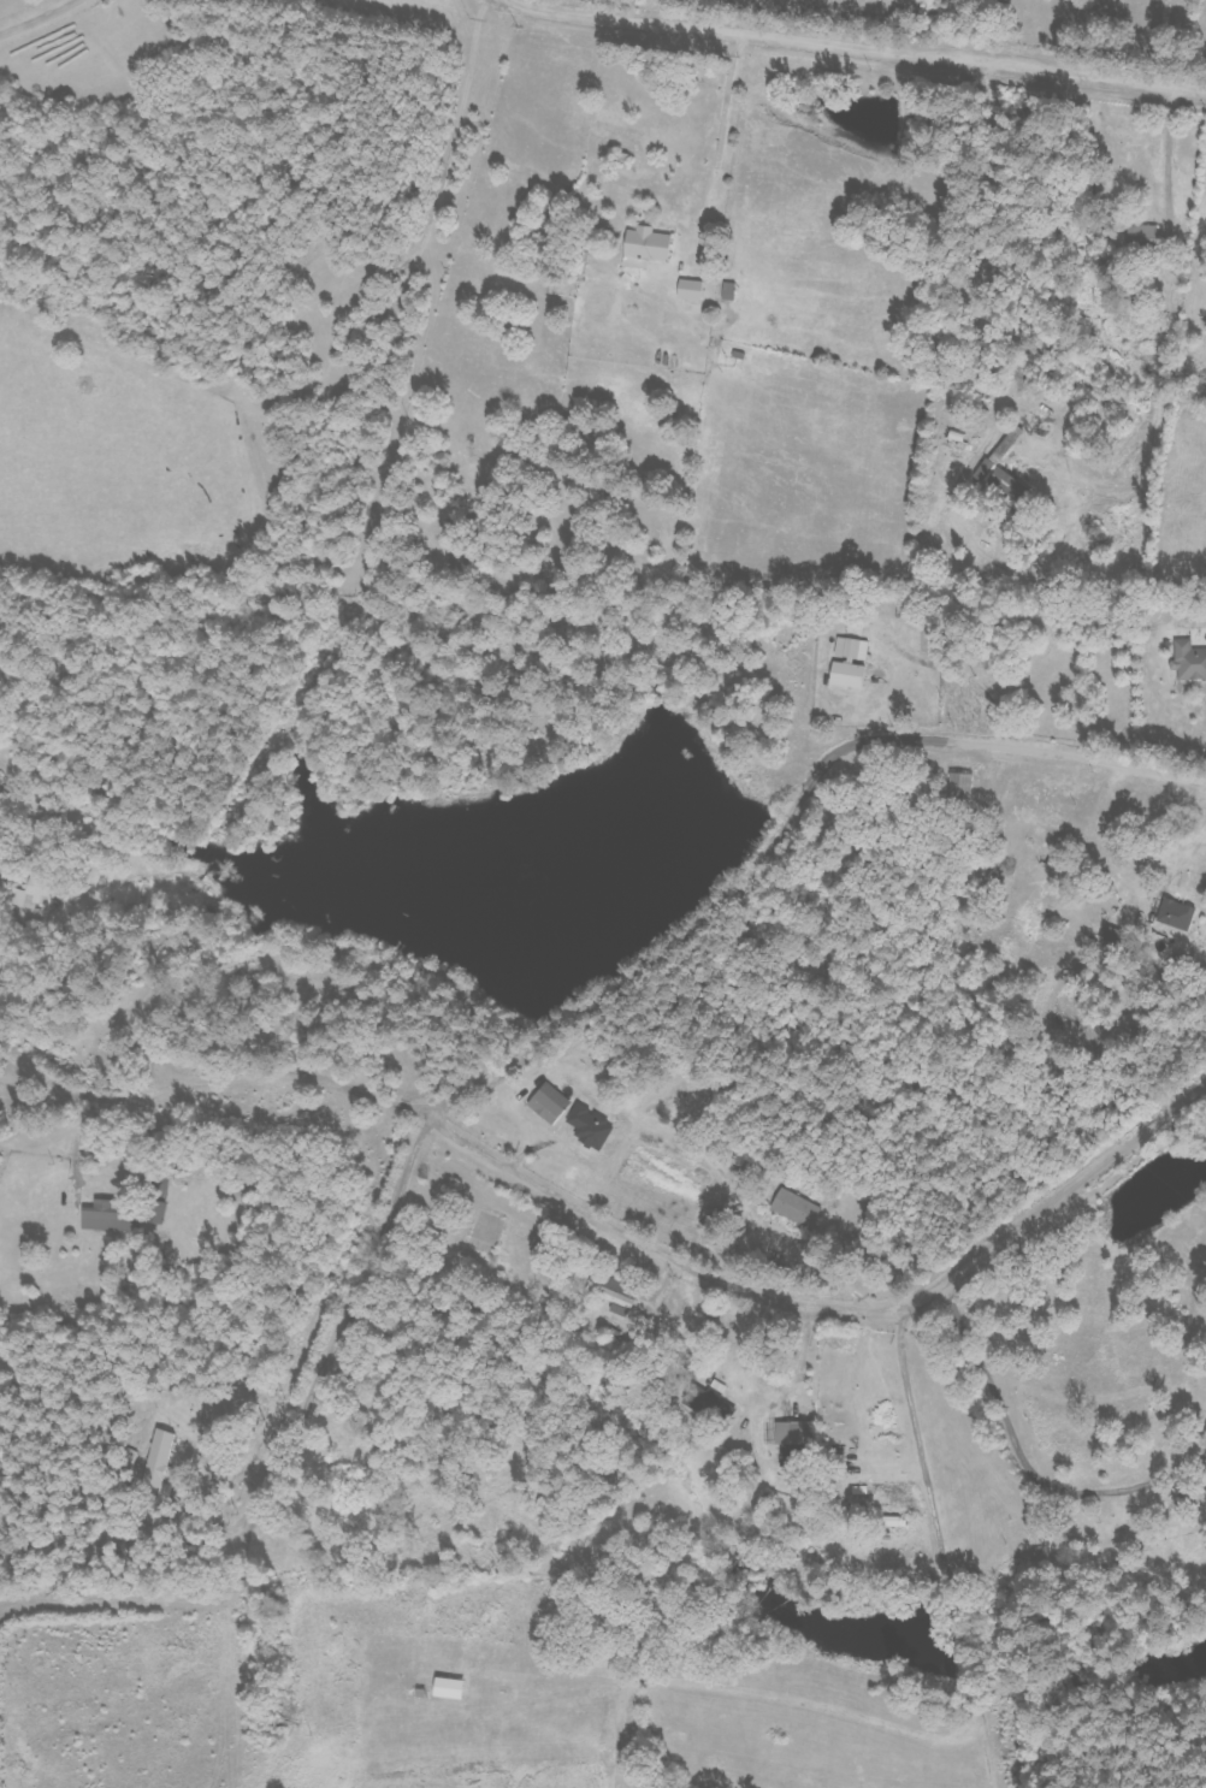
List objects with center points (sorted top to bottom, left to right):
road: (40, 17)
road: (856, 43)
building: (646, 244)
building: (688, 290)
building: (1001, 470)
building: (1188, 661)
building: (847, 663)
road: (877, 739)
road: (1153, 770)
building: (1175, 914)
building: (548, 1103)
road: (1070, 1186)
building: (794, 1207)
building: (100, 1215)
building: (620, 1295)
road: (834, 1315)
building: (703, 1397)
building: (791, 1437)
building: (154, 1458)
building: (886, 1521)
building: (447, 1687)

